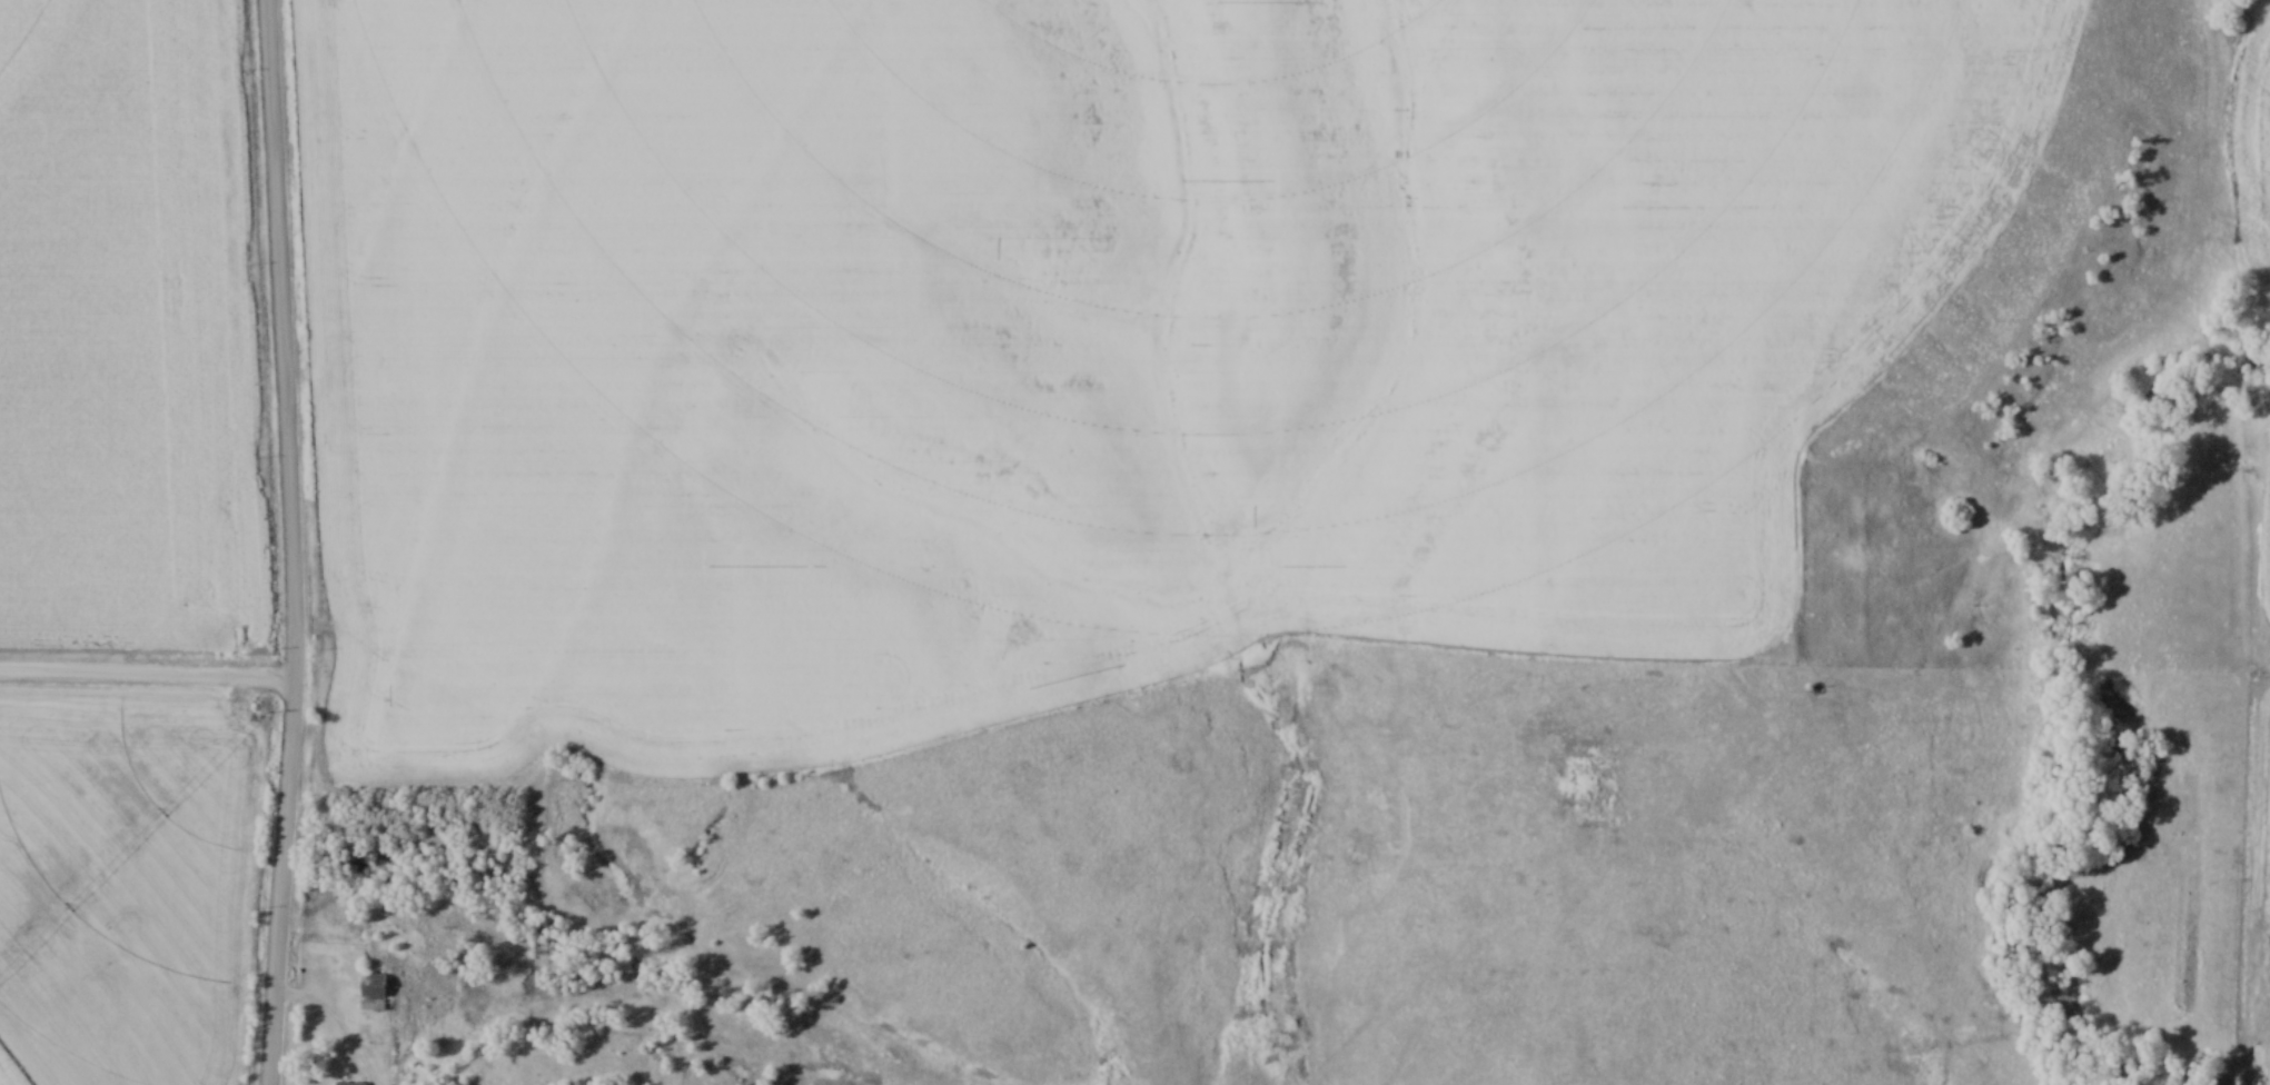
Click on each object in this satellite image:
road: (278, 338)
road: (145, 674)
road: (276, 880)
building: (371, 986)
road: (336, 1023)
building: (349, 1084)

